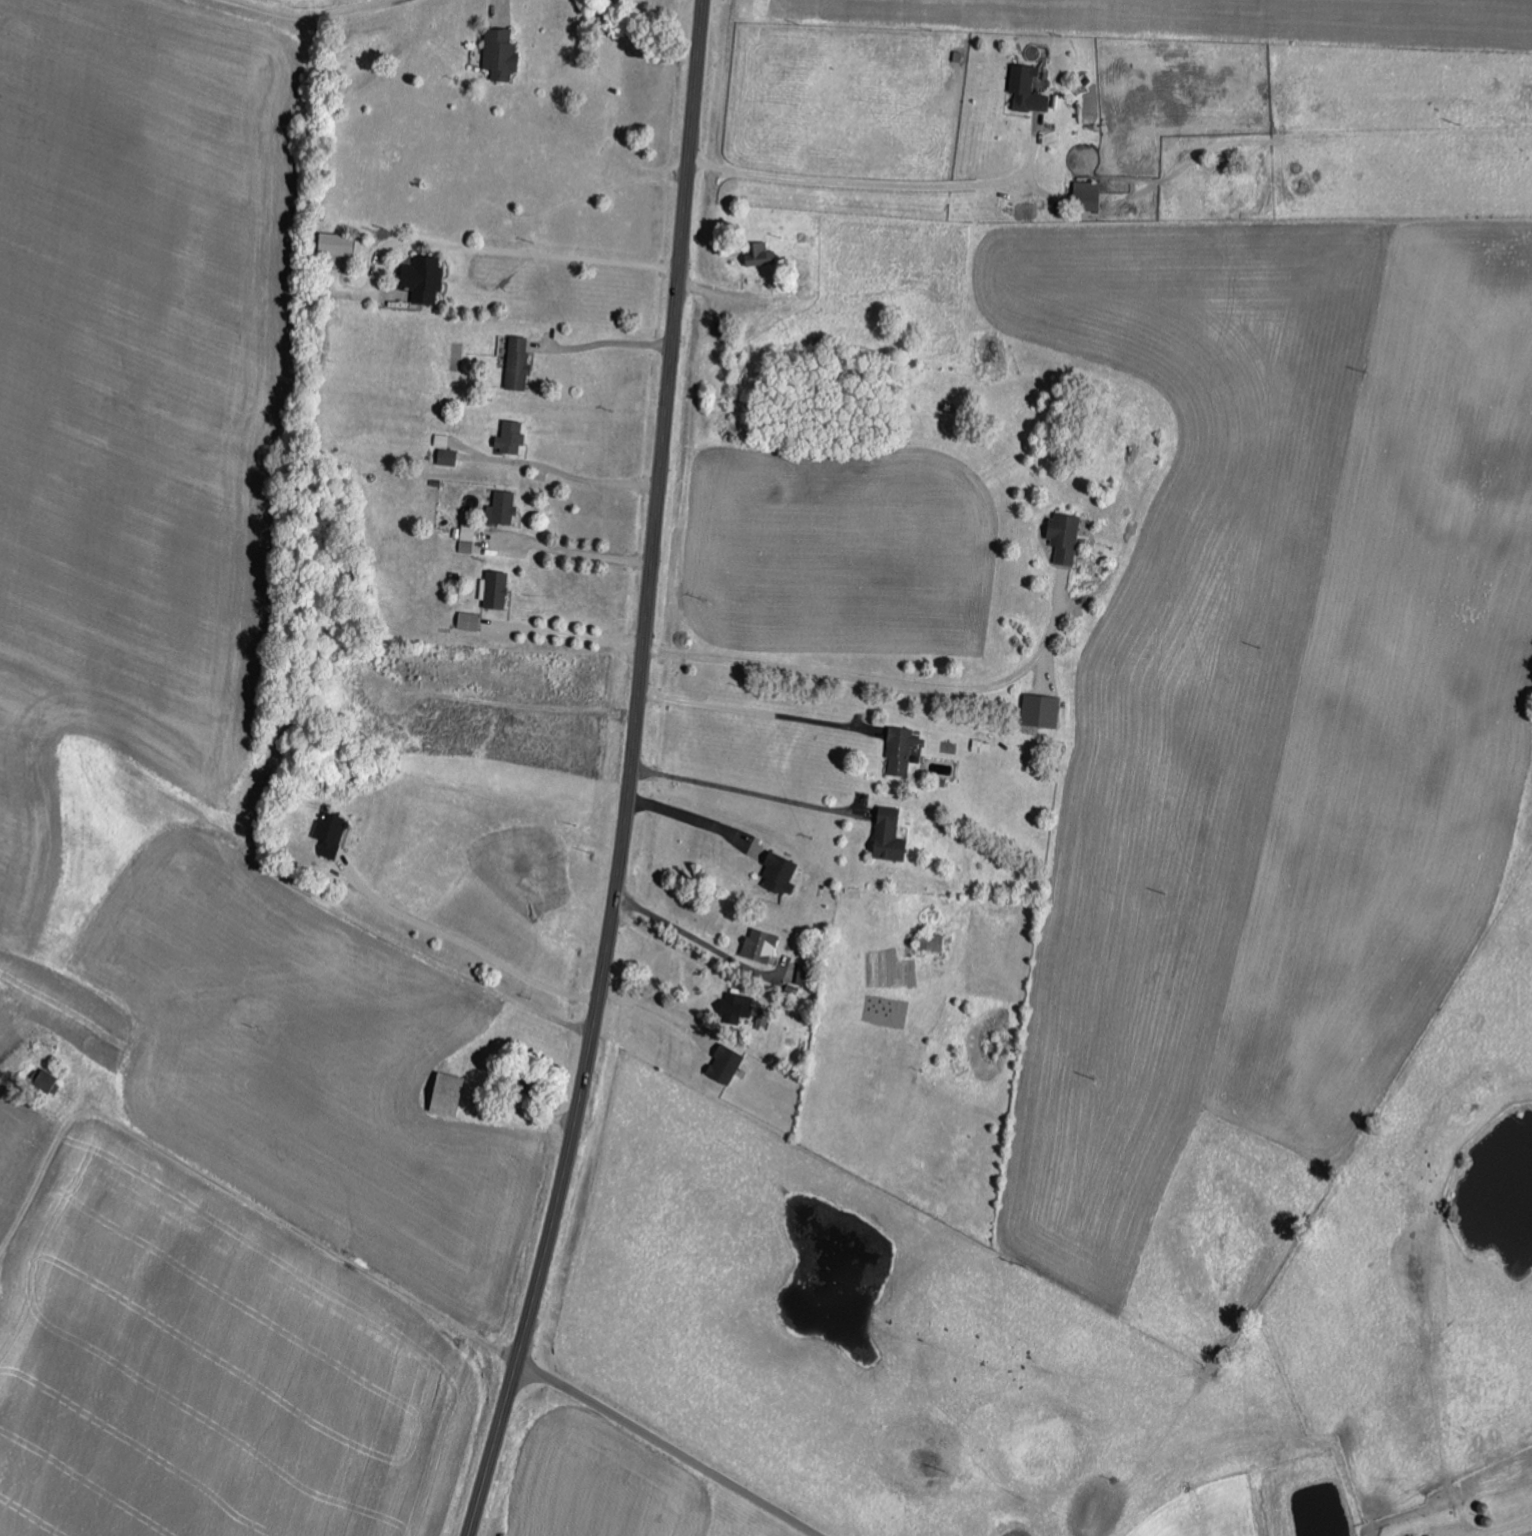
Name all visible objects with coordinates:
road: (379, 21)
building: (502, 54)
building: (1029, 89)
road: (877, 183)
building: (1090, 194)
building: (338, 244)
road: (491, 249)
building: (762, 255)
building: (424, 279)
road: (602, 343)
building: (519, 363)
building: (511, 438)
building: (448, 457)
road: (590, 479)
building: (503, 508)
building: (1066, 537)
building: (468, 538)
road: (572, 551)
building: (496, 590)
building: (470, 621)
road: (579, 636)
building: (1042, 711)
building: (983, 746)
building: (902, 751)
road: (632, 775)
road: (693, 818)
building: (332, 832)
building: (891, 835)
building: (781, 872)
road: (291, 928)
building: (931, 941)
road: (466, 942)
building: (762, 944)
road: (680, 946)
building: (737, 1006)
road: (657, 1011)
building: (762, 1022)
building: (726, 1063)
building: (47, 1080)
building: (449, 1093)
road: (206, 1180)
road: (668, 1447)

